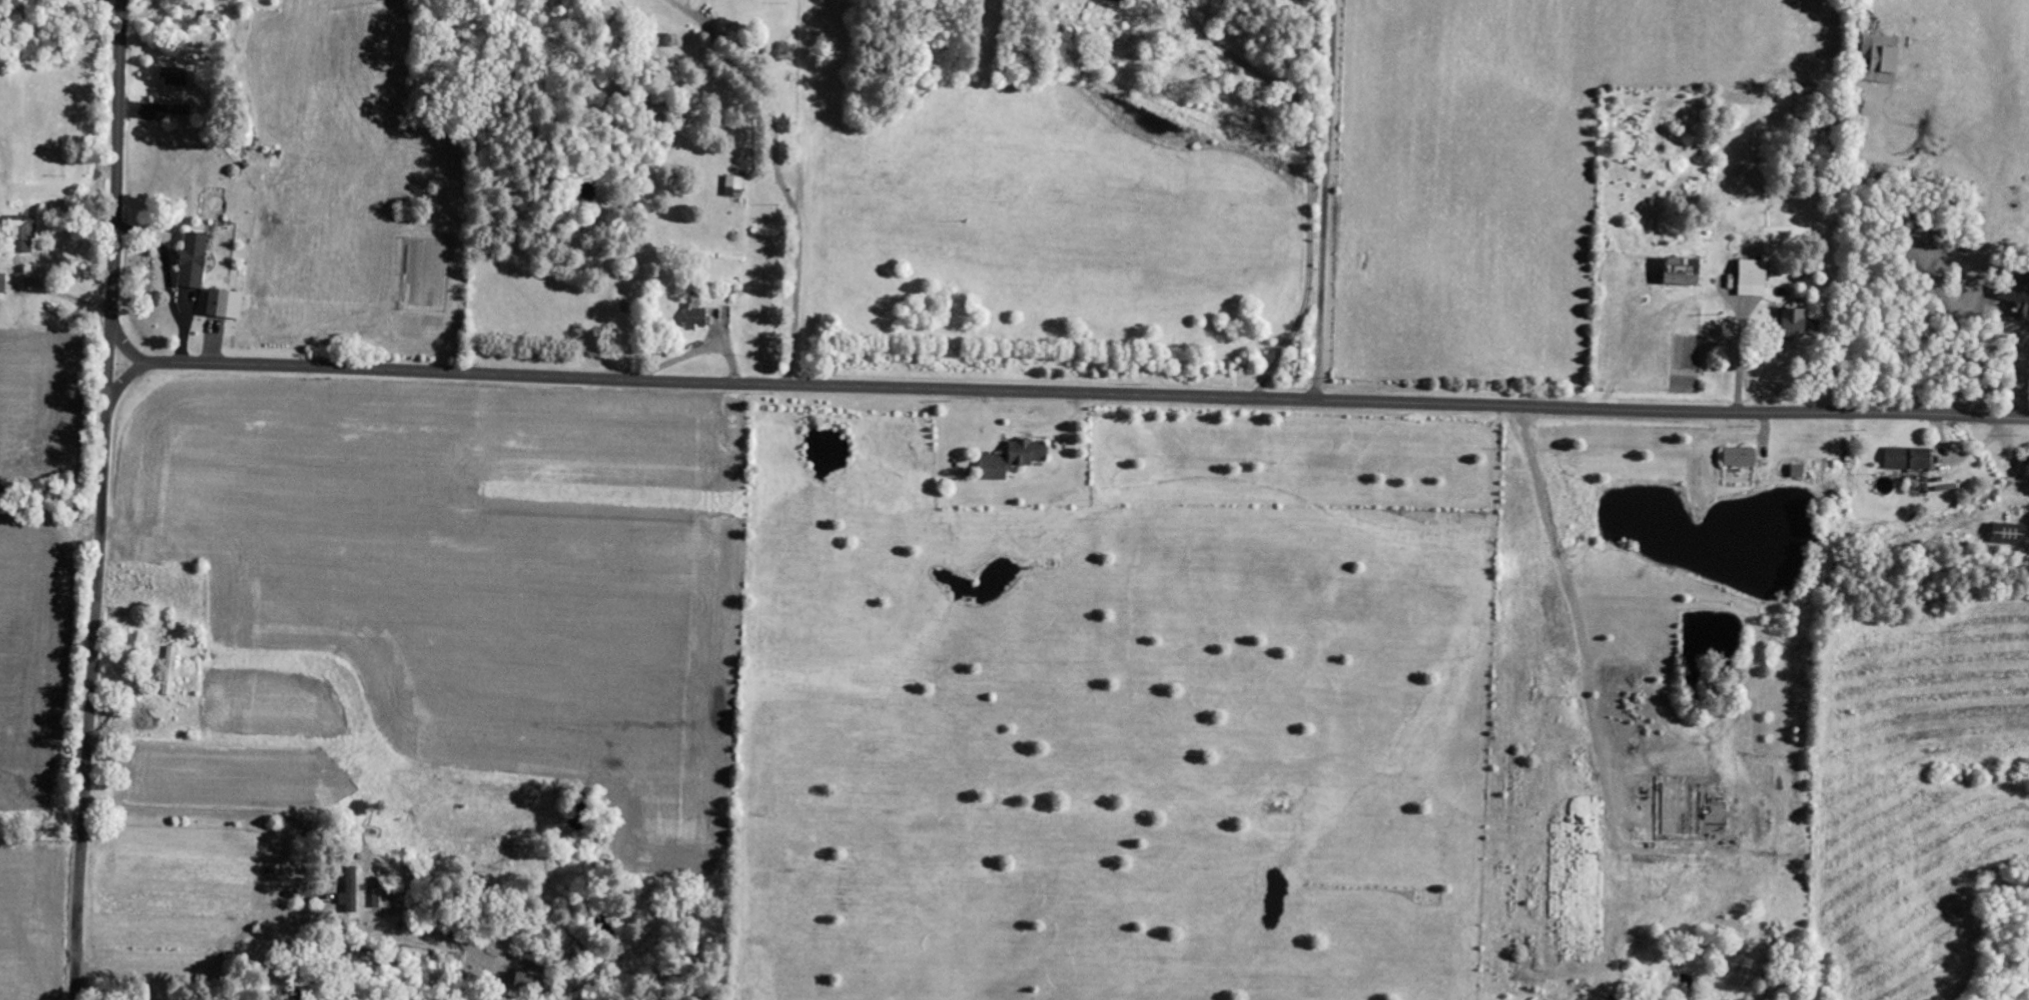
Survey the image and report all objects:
building: (1877, 58)
building: (176, 78)
building: (735, 186)
road: (114, 190)
road: (728, 194)
road: (1325, 200)
road: (1301, 217)
building: (28, 237)
building: (195, 261)
building: (1679, 268)
building: (1747, 278)
building: (2014, 295)
building: (227, 304)
building: (697, 317)
building: (1791, 323)
road: (108, 358)
road: (1089, 394)
building: (1735, 457)
building: (1014, 459)
building: (1904, 459)
building: (2008, 534)
building: (171, 671)
road: (93, 672)
building: (382, 893)
building: (352, 896)
building: (538, 984)

